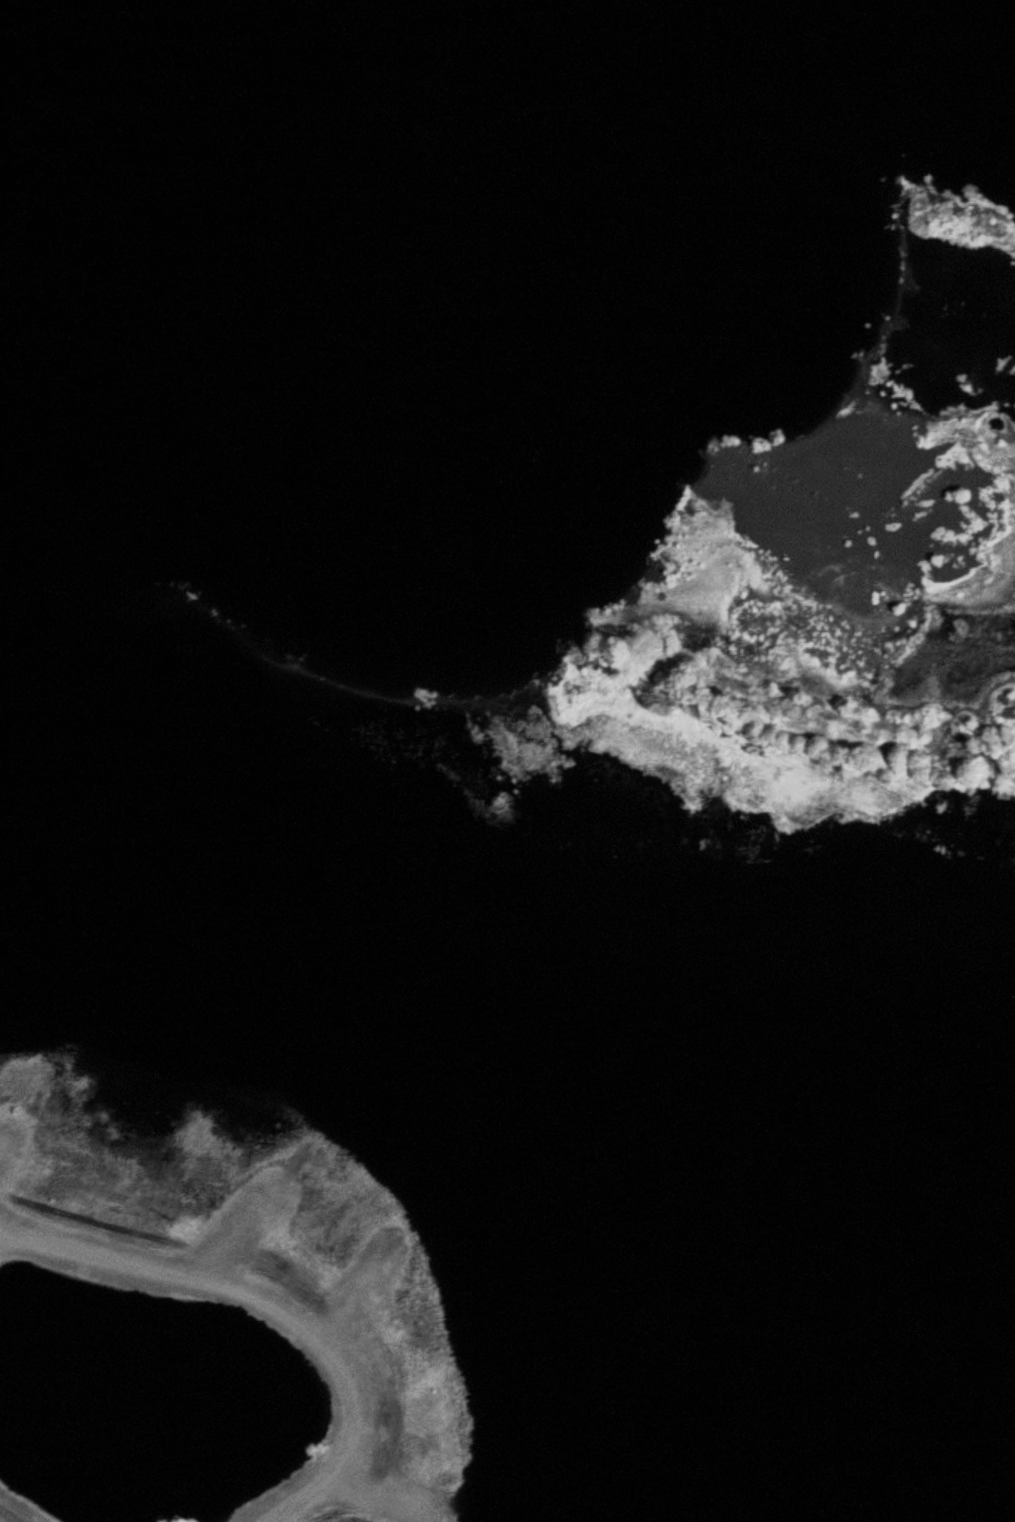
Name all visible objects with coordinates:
road: (270, 1306)
road: (13, 1513)

